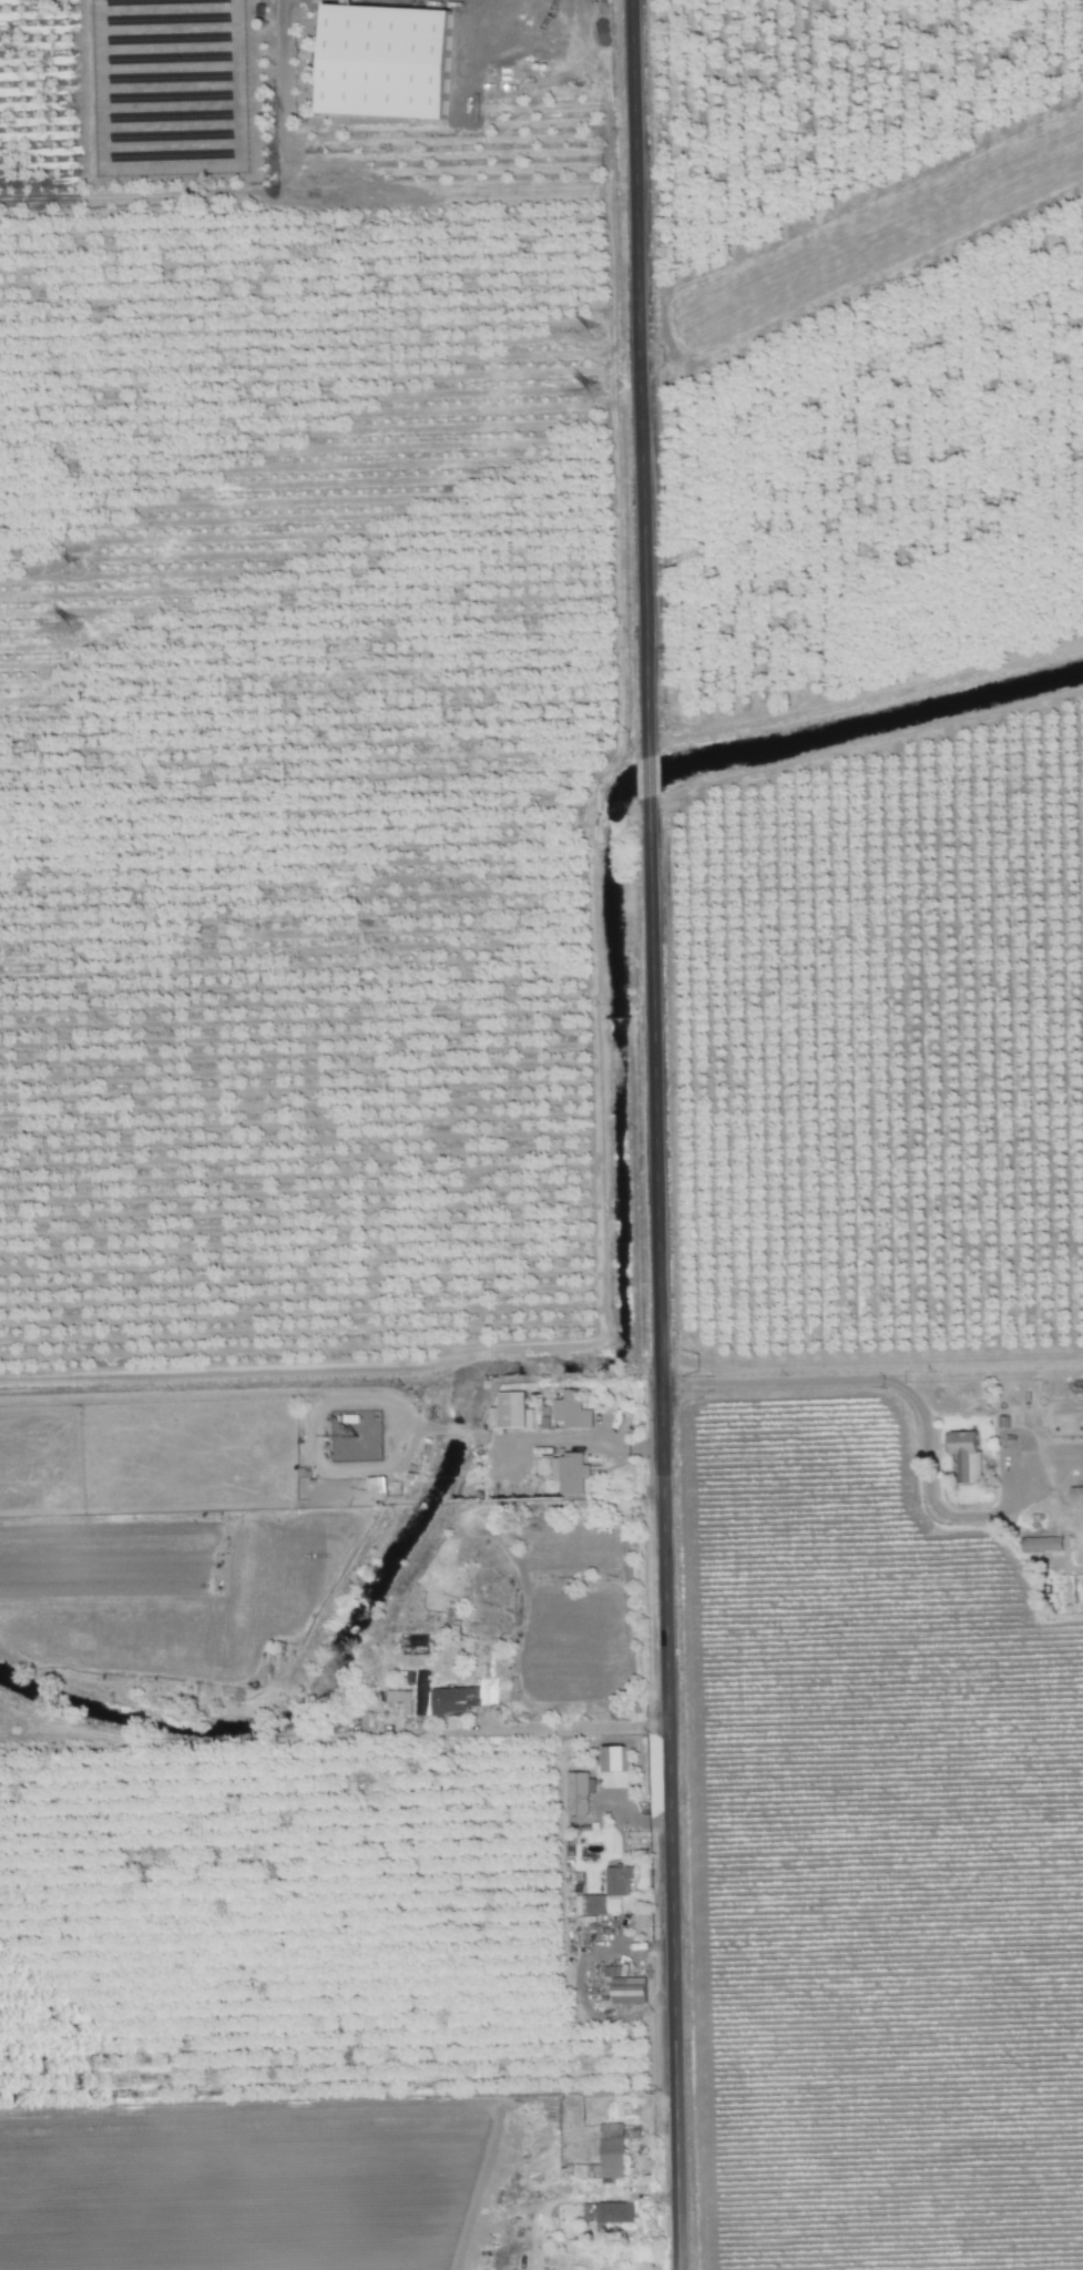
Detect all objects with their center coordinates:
road: (514, 14)
building: (388, 61)
power tower: (595, 334)
road: (640, 373)
power tower: (593, 394)
power tower: (74, 569)
power tower: (73, 629)
road: (647, 786)
road: (876, 1381)
building: (573, 1408)
building: (515, 1409)
road: (581, 1443)
building: (967, 1453)
building: (571, 1472)
building: (377, 1483)
building: (1043, 1543)
road: (666, 1548)
building: (450, 1701)
building: (390, 1710)
road: (589, 1729)
building: (575, 1793)
building: (620, 1880)
building: (595, 1904)
building: (630, 1989)
building: (612, 2149)
building: (616, 2212)

